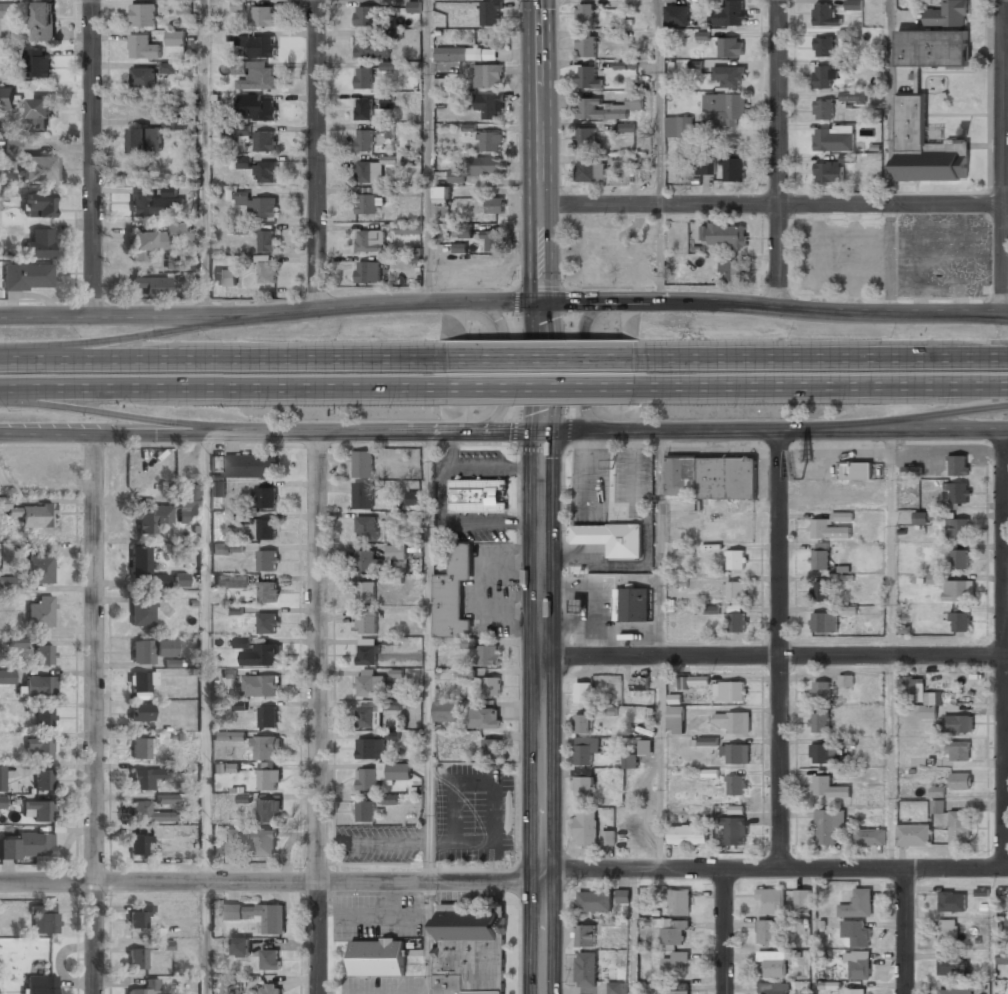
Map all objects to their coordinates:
building: (238, 5)
building: (854, 5)
building: (8, 12)
building: (143, 14)
building: (491, 14)
building: (730, 14)
building: (824, 14)
building: (585, 15)
building: (948, 15)
building: (677, 16)
building: (264, 17)
building: (367, 17)
building: (43, 22)
building: (175, 39)
building: (257, 45)
building: (143, 47)
building: (823, 47)
building: (586, 48)
building: (731, 48)
building: (932, 49)
building: (372, 50)
building: (466, 54)
building: (38, 65)
building: (389, 65)
building: (168, 68)
building: (254, 76)
building: (488, 77)
building: (728, 77)
building: (143, 78)
building: (364, 78)
building: (823, 78)
building: (588, 79)
building: (7, 97)
building: (853, 98)
building: (388, 102)
road: (889, 102)
building: (490, 108)
building: (256, 109)
building: (607, 109)
building: (724, 109)
building: (41, 110)
building: (364, 110)
building: (823, 110)
building: (175, 121)
building: (626, 127)
building: (678, 128)
building: (387, 133)
building: (243, 135)
building: (584, 139)
building: (145, 141)
building: (833, 141)
building: (364, 142)
building: (490, 142)
building: (264, 143)
building: (12, 146)
building: (925, 146)
road: (425, 151)
road: (541, 151)
road: (661, 151)
road: (779, 153)
road: (319, 154)
road: (1003, 155)
road: (93, 158)
road: (203, 158)
building: (244, 161)
building: (485, 166)
building: (733, 167)
building: (706, 168)
building: (37, 170)
building: (590, 170)
building: (370, 172)
building: (265, 173)
building: (828, 173)
building: (455, 176)
building: (7, 179)
building: (441, 195)
building: (150, 204)
road: (774, 204)
building: (367, 205)
building: (39, 206)
building: (258, 206)
building: (494, 206)
building: (8, 217)
building: (408, 230)
building: (728, 236)
building: (159, 240)
building: (267, 242)
building: (370, 242)
building: (491, 242)
building: (460, 248)
building: (732, 268)
building: (267, 270)
building: (368, 273)
building: (27, 278)
building: (227, 278)
building: (151, 287)
traffic signals: (543, 302)
road: (775, 307)
road: (271, 311)
road: (954, 317)
road: (160, 333)
road: (820, 358)
road: (224, 359)
road: (541, 359)
road: (500, 365)
road: (542, 367)
road: (580, 368)
road: (819, 387)
road: (102, 388)
road: (538, 388)
road: (324, 389)
road: (932, 415)
road: (119, 416)
road: (775, 430)
traffic signals: (542, 432)
road: (271, 433)
building: (362, 465)
building: (958, 466)
building: (250, 467)
building: (854, 470)
building: (711, 477)
building: (218, 489)
building: (959, 494)
building: (478, 495)
building: (362, 497)
building: (265, 498)
building: (412, 500)
building: (188, 505)
building: (8, 508)
building: (925, 517)
building: (36, 518)
building: (151, 519)
building: (830, 527)
building: (957, 528)
building: (267, 529)
building: (367, 529)
building: (611, 539)
building: (227, 548)
building: (686, 549)
building: (397, 553)
building: (821, 557)
building: (960, 559)
building: (268, 560)
building: (737, 560)
building: (365, 561)
building: (138, 565)
building: (39, 571)
building: (935, 578)
building: (180, 580)
building: (160, 581)
building: (232, 582)
building: (6, 583)
building: (268, 591)
building: (736, 591)
building: (821, 591)
building: (958, 591)
building: (365, 593)
building: (453, 594)
building: (634, 605)
building: (581, 610)
gas station: (581, 610)
building: (712, 610)
building: (848, 610)
building: (40, 614)
building: (142, 614)
building: (736, 620)
building: (960, 622)
building: (268, 623)
building: (367, 623)
building: (823, 623)
building: (242, 642)
road: (1005, 648)
road: (779, 649)
road: (893, 649)
road: (655, 650)
building: (151, 652)
road: (775, 655)
building: (261, 656)
building: (368, 656)
building: (44, 657)
road: (430, 657)
building: (489, 657)
road: (207, 658)
building: (465, 672)
building: (7, 677)
building: (699, 680)
building: (845, 681)
building: (142, 684)
building: (370, 684)
building: (260, 686)
building: (637, 686)
building: (491, 688)
building: (37, 689)
building: (730, 690)
building: (912, 690)
building: (820, 692)
building: (583, 693)
building: (928, 711)
road: (543, 712)
road: (99, 713)
road: (319, 713)
building: (447, 713)
building: (141, 714)
building: (369, 715)
building: (43, 719)
building: (268, 719)
building: (484, 719)
building: (676, 720)
building: (733, 721)
building: (819, 723)
building: (584, 724)
building: (957, 725)
building: (229, 736)
building: (709, 741)
building: (646, 747)
building: (39, 749)
building: (140, 749)
building: (266, 749)
building: (371, 749)
building: (491, 749)
building: (586, 751)
building: (958, 752)
building: (736, 754)
building: (822, 755)
building: (630, 762)
building: (226, 768)
building: (398, 772)
building: (847, 772)
building: (1, 779)
building: (145, 779)
building: (368, 780)
building: (43, 781)
building: (269, 781)
building: (960, 782)
building: (735, 786)
building: (583, 787)
building: (827, 789)
building: (167, 800)
building: (394, 800)
building: (2, 802)
building: (938, 806)
building: (38, 812)
building: (269, 812)
building: (365, 813)
building: (149, 814)
building: (827, 827)
building: (960, 828)
building: (586, 829)
building: (734, 832)
building: (912, 835)
building: (688, 836)
building: (870, 838)
building: (608, 839)
building: (256, 841)
building: (138, 846)
building: (27, 847)
building: (219, 850)
road: (504, 883)
building: (623, 897)
building: (803, 899)
building: (772, 900)
building: (952, 901)
building: (593, 902)
building: (679, 902)
building: (858, 904)
building: (258, 916)
building: (138, 919)
building: (44, 920)
building: (1007, 923)
building: (948, 930)
road: (814, 931)
road: (905, 931)
road: (634, 932)
road: (725, 932)
building: (672, 933)
building: (769, 933)
building: (856, 933)
building: (585, 937)
road: (207, 938)
road: (429, 938)
building: (242, 948)
building: (470, 951)
building: (377, 959)
building: (1003, 959)
building: (136, 961)
building: (271, 961)
building: (674, 963)
building: (773, 964)
building: (859, 966)
building: (948, 966)
building: (586, 971)
building: (46, 986)
building: (221, 986)
building: (142, 987)
building: (617, 988)
building: (774, 988)
building: (271, 989)
building: (856, 991)
building: (677, 992)
building: (953, 992)

